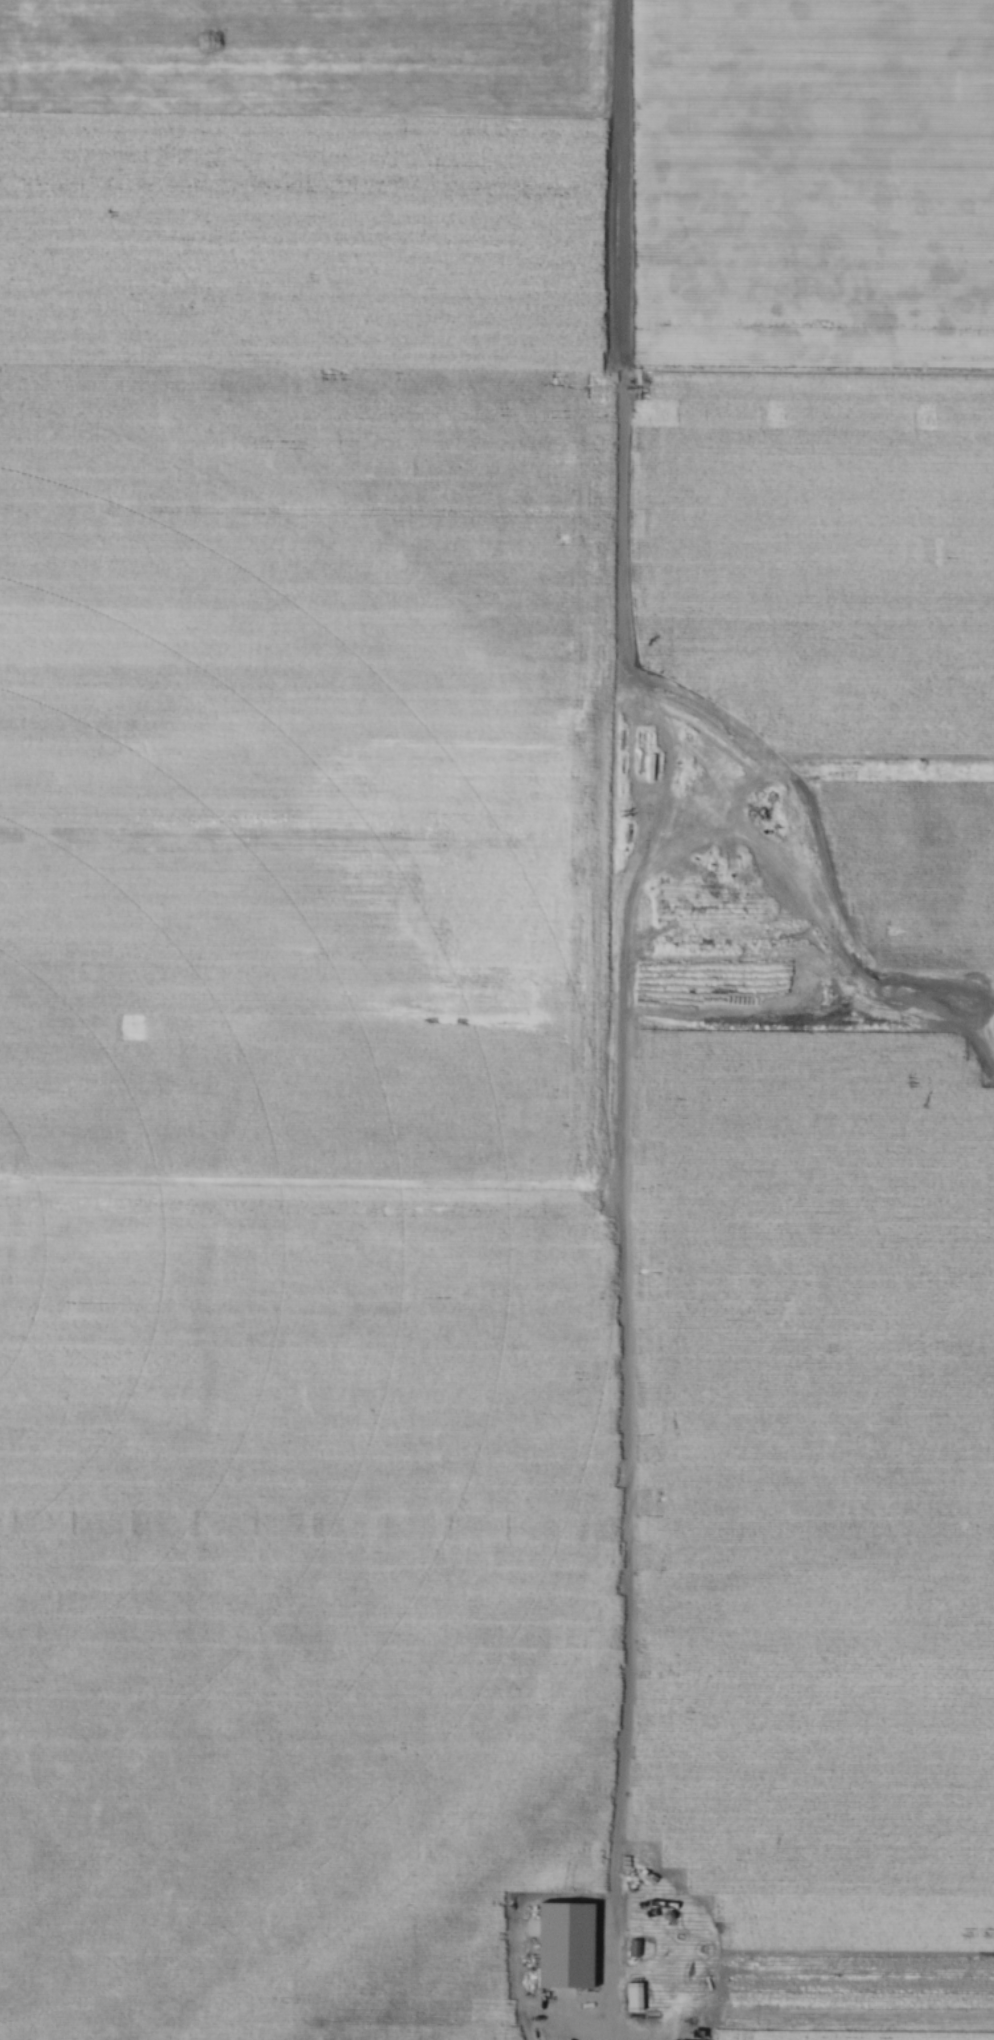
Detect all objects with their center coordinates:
building: (634, 1950)
building: (637, 1984)

